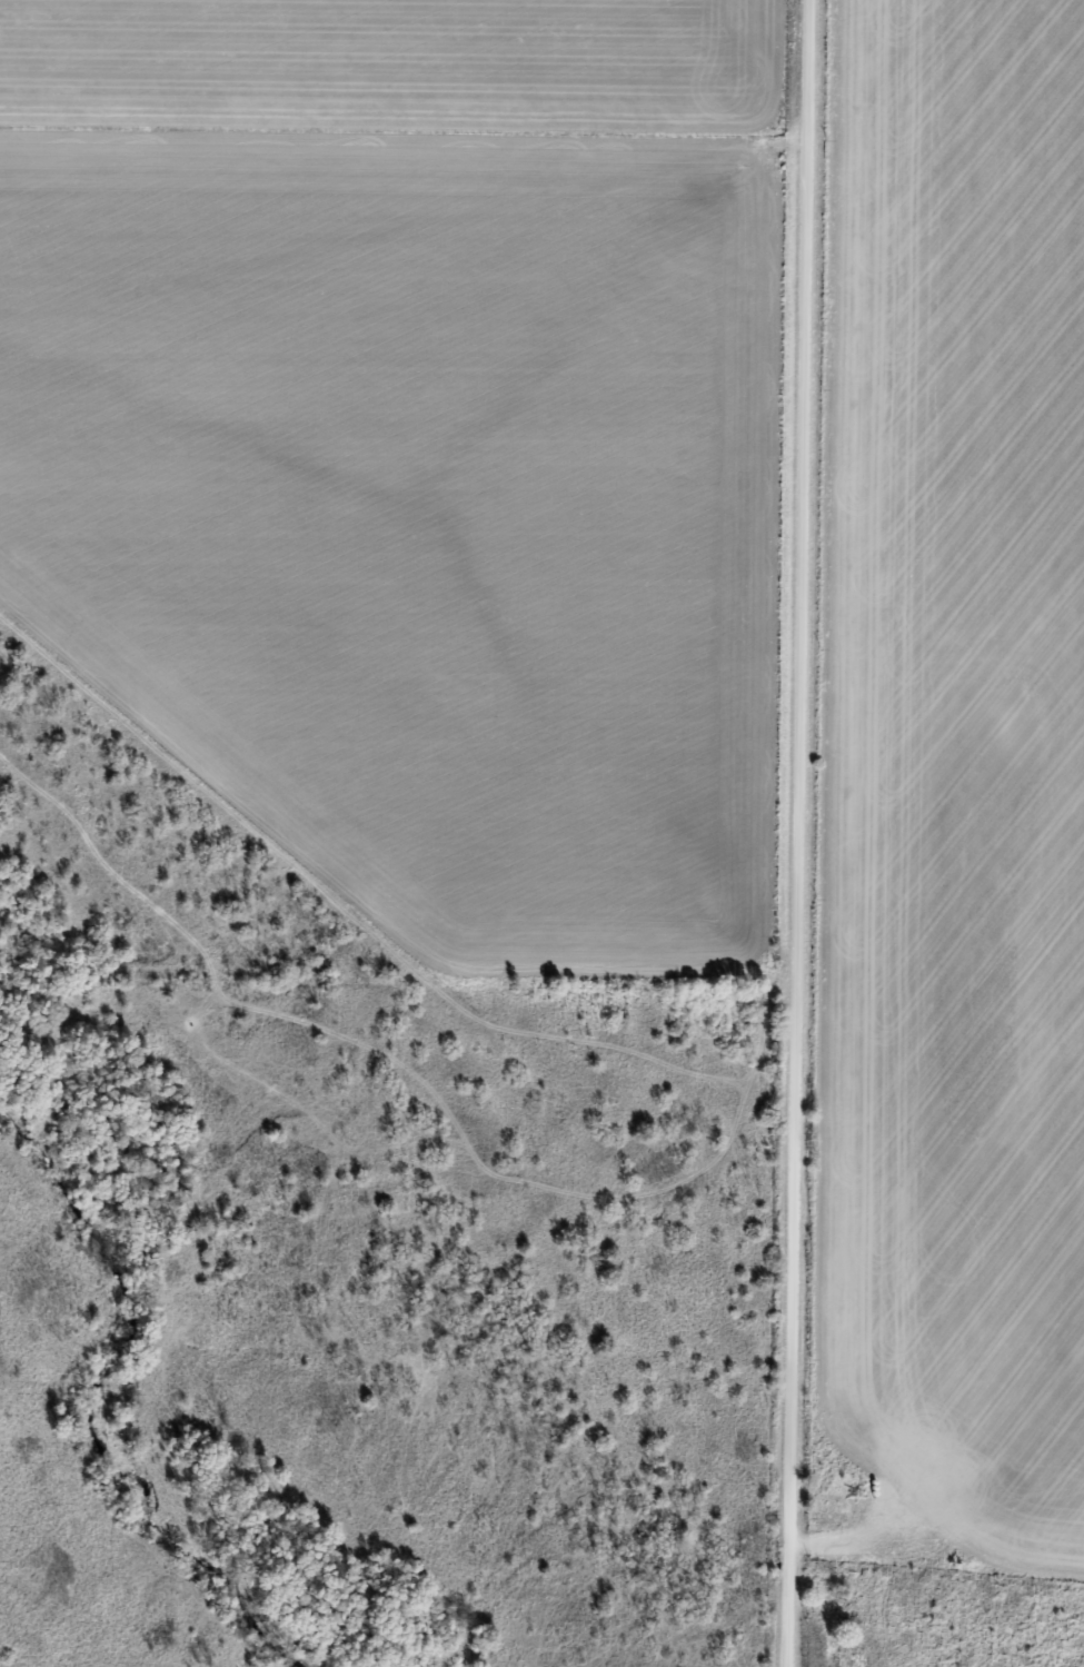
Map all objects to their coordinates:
road: (803, 833)

